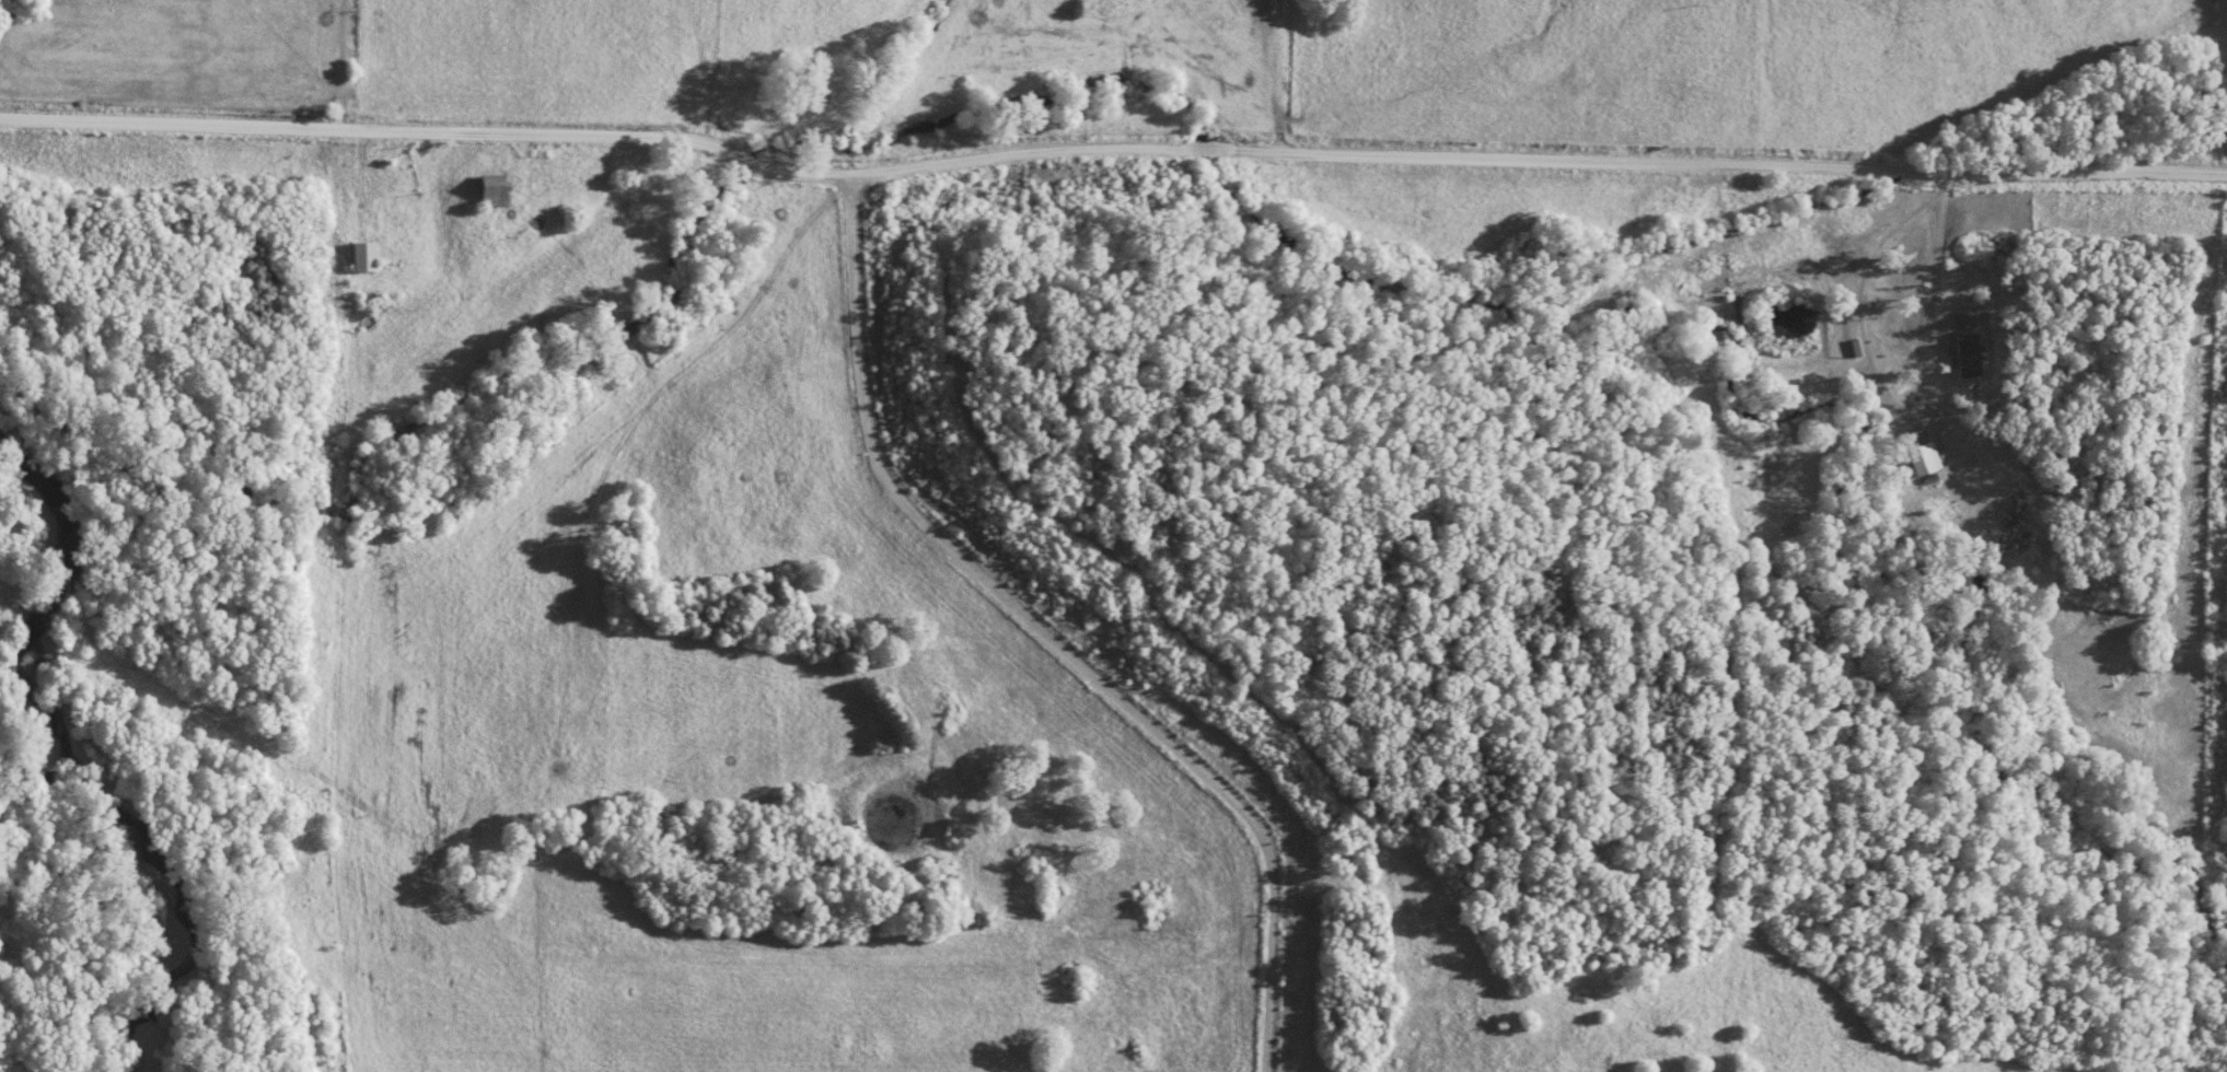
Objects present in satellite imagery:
road: (2224, 93)
road: (1109, 145)
building: (499, 190)
road: (1932, 253)
building: (368, 257)
road: (1048, 632)

